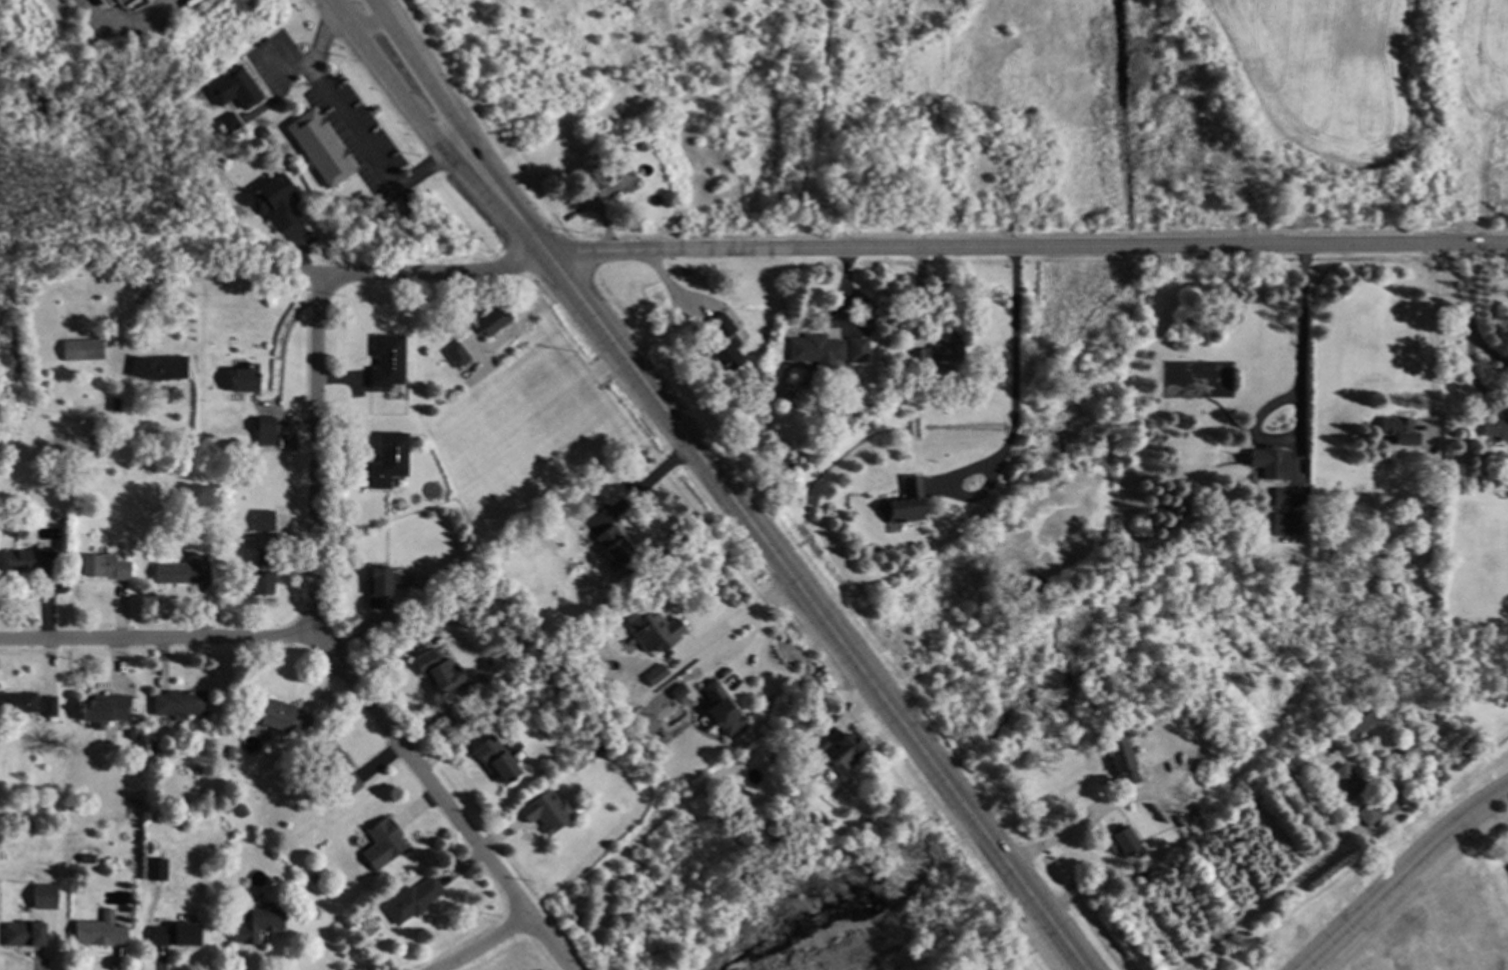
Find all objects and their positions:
building: (108, 2)
building: (125, 2)
road: (382, 7)
road: (372, 24)
road: (125, 26)
crop: (1482, 57)
road: (288, 64)
crop: (1326, 73)
building: (237, 87)
building: (232, 122)
road: (350, 130)
road: (462, 130)
building: (264, 131)
building: (647, 132)
road: (430, 135)
building: (323, 146)
building: (616, 160)
building: (590, 177)
building: (280, 202)
road: (1025, 246)
building: (683, 271)
road: (433, 273)
road: (199, 278)
road: (1472, 293)
building: (734, 305)
building: (495, 321)
road: (1301, 321)
road: (1429, 338)
building: (724, 344)
building: (85, 348)
building: (814, 348)
building: (853, 349)
road: (1489, 353)
building: (935, 354)
building: (460, 355)
building: (390, 360)
building: (161, 368)
road: (1016, 371)
building: (247, 378)
building: (897, 381)
road: (1473, 381)
building: (116, 404)
building: (1496, 428)
building: (1398, 430)
building: (268, 435)
road: (315, 457)
building: (391, 459)
building: (1274, 464)
building: (1482, 464)
building: (1422, 475)
building: (1010, 479)
building: (1292, 497)
building: (906, 503)
building: (64, 514)
building: (266, 520)
building: (1289, 525)
building: (612, 538)
building: (34, 561)
building: (108, 566)
building: (185, 571)
building: (265, 573)
building: (383, 587)
building: (406, 606)
road: (818, 616)
road: (732, 620)
building: (656, 628)
road: (762, 629)
road: (349, 634)
road: (154, 639)
building: (613, 640)
building: (442, 671)
building: (654, 675)
building: (1126, 701)
building: (22, 702)
building: (182, 703)
building: (52, 706)
building: (107, 708)
building: (724, 708)
building: (286, 717)
building: (1360, 723)
building: (1198, 724)
building: (160, 746)
building: (602, 746)
building: (822, 746)
building: (233, 751)
building: (846, 752)
building: (1401, 752)
building: (500, 758)
building: (1120, 760)
building: (341, 766)
road: (419, 776)
building: (832, 777)
building: (1347, 784)
building: (738, 790)
building: (1377, 808)
building: (548, 811)
building: (32, 825)
building: (1183, 831)
road: (1070, 832)
building: (1119, 841)
building: (385, 843)
building: (90, 858)
building: (318, 878)
road: (1398, 878)
building: (47, 896)
building: (416, 900)
building: (138, 901)
road: (1263, 902)
building: (260, 920)
building: (348, 920)
building: (103, 930)
building: (27, 933)
building: (179, 933)
road: (484, 943)
road: (549, 943)

